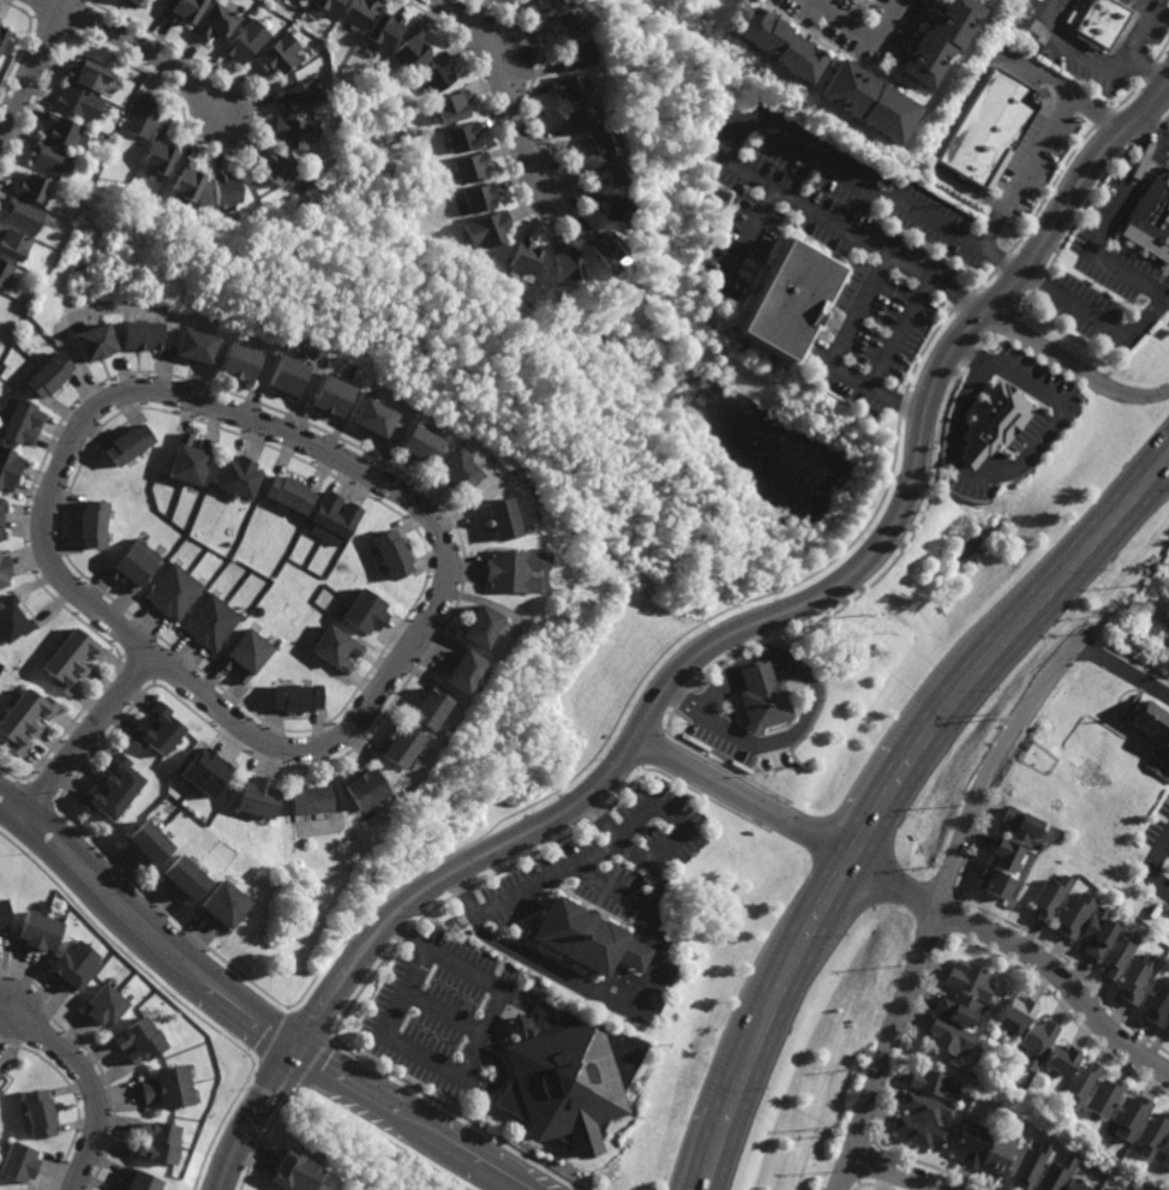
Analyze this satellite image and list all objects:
building: (131, 0)
building: (304, 0)
building: (548, 2)
building: (325, 6)
building: (181, 10)
building: (355, 12)
building: (566, 19)
building: (210, 20)
building: (1102, 20)
building: (380, 28)
building: (2, 31)
road: (864, 31)
building: (936, 38)
building: (242, 41)
building: (779, 41)
building: (408, 46)
road: (143, 47)
building: (275, 54)
building: (575, 54)
road: (31, 68)
road: (1151, 68)
road: (1105, 70)
building: (436, 71)
building: (86, 73)
road: (976, 82)
road: (506, 85)
building: (569, 86)
building: (293, 94)
building: (868, 100)
building: (77, 101)
building: (449, 106)
building: (140, 115)
building: (578, 118)
building: (392, 121)
building: (993, 126)
building: (59, 128)
building: (293, 131)
road: (1150, 131)
road: (738, 133)
building: (460, 136)
building: (603, 142)
building: (156, 154)
building: (49, 156)
building: (272, 166)
building: (468, 166)
building: (615, 172)
road: (1026, 172)
building: (182, 179)
building: (32, 186)
building: (223, 187)
building: (476, 197)
building: (613, 209)
building: (22, 214)
building: (1150, 217)
building: (485, 228)
road: (1098, 231)
building: (12, 244)
building: (603, 246)
building: (522, 255)
building: (562, 263)
building: (5, 273)
building: (787, 299)
road: (1097, 319)
road: (895, 330)
building: (137, 335)
building: (92, 342)
building: (191, 346)
road: (832, 354)
building: (235, 361)
road: (1072, 366)
road: (1001, 370)
building: (48, 375)
building: (283, 376)
building: (328, 396)
road: (234, 413)
building: (370, 418)
building: (19, 420)
building: (984, 421)
building: (125, 444)
building: (418, 445)
building: (186, 460)
building: (8, 468)
building: (456, 474)
building: (234, 477)
building: (286, 494)
building: (0, 514)
building: (330, 519)
building: (498, 520)
building: (90, 525)
building: (390, 555)
building: (131, 564)
building: (510, 572)
building: (4, 573)
building: (169, 592)
road: (785, 609)
building: (362, 612)
building: (12, 622)
building: (208, 623)
building: (478, 628)
building: (1165, 635)
building: (331, 648)
building: (244, 656)
building: (71, 662)
road: (777, 665)
road: (1120, 669)
road: (755, 672)
building: (462, 674)
road: (715, 690)
building: (761, 698)
building: (293, 699)
building: (427, 710)
building: (26, 719)
building: (155, 730)
road: (790, 731)
road: (85, 735)
building: (1152, 736)
building: (400, 745)
building: (203, 771)
road: (880, 781)
building: (361, 785)
building: (112, 788)
building: (253, 795)
building: (305, 797)
road: (899, 802)
building: (1020, 826)
building: (149, 839)
building: (1001, 853)
road: (1153, 863)
building: (182, 875)
road: (544, 877)
building: (994, 881)
road: (912, 891)
building: (1048, 896)
road: (935, 897)
building: (222, 902)
building: (4, 910)
building: (1072, 913)
road: (146, 928)
building: (40, 929)
building: (1096, 931)
building: (586, 938)
building: (1117, 953)
building: (74, 962)
building: (1132, 977)
building: (967, 980)
building: (1156, 1000)
road: (639, 1001)
building: (106, 1004)
building: (957, 1007)
building: (1017, 1010)
building: (1165, 1024)
building: (947, 1035)
building: (142, 1039)
building: (1033, 1042)
road: (467, 1058)
building: (1059, 1059)
building: (0, 1074)
road: (497, 1077)
building: (563, 1078)
building: (933, 1083)
road: (92, 1084)
building: (1077, 1084)
building: (169, 1087)
building: (1102, 1096)
building: (925, 1106)
building: (38, 1112)
building: (1127, 1116)
road: (252, 1117)
road: (412, 1120)
building: (916, 1130)
building: (1150, 1132)
building: (160, 1141)
building: (970, 1141)
building: (1164, 1150)
building: (999, 1154)
building: (18, 1161)
building: (1030, 1165)
building: (1098, 1170)
building: (293, 1171)
road: (895, 1173)
building: (1055, 1173)
building: (140, 1180)
building: (1077, 1185)
building: (1115, 1188)
building: (1098, 1189)

